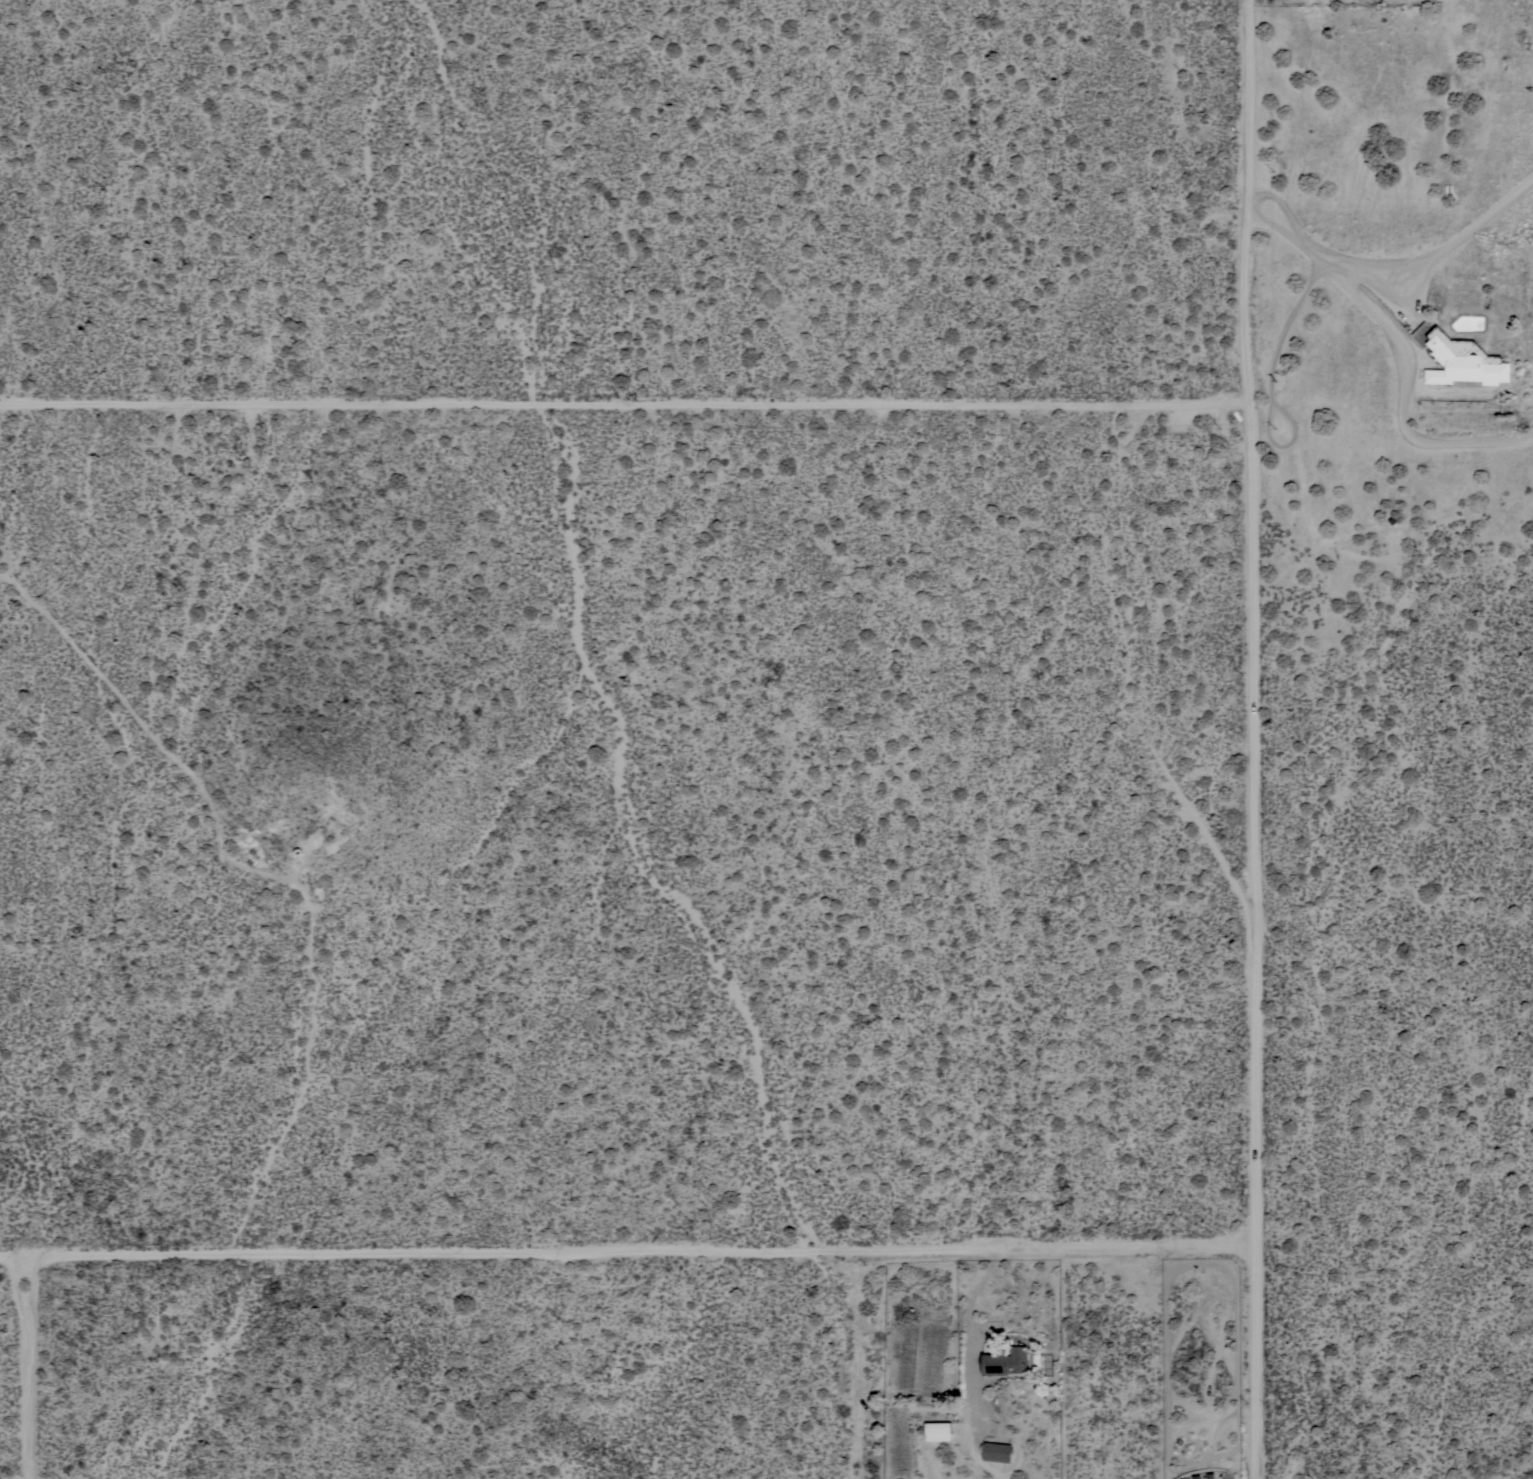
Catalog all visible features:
road: (1401, 288)
building: (1463, 362)
road: (624, 404)
road: (1254, 739)
road: (627, 1252)
road: (974, 1293)
building: (1006, 1363)
road: (30, 1367)
building: (938, 1431)
building: (997, 1452)

